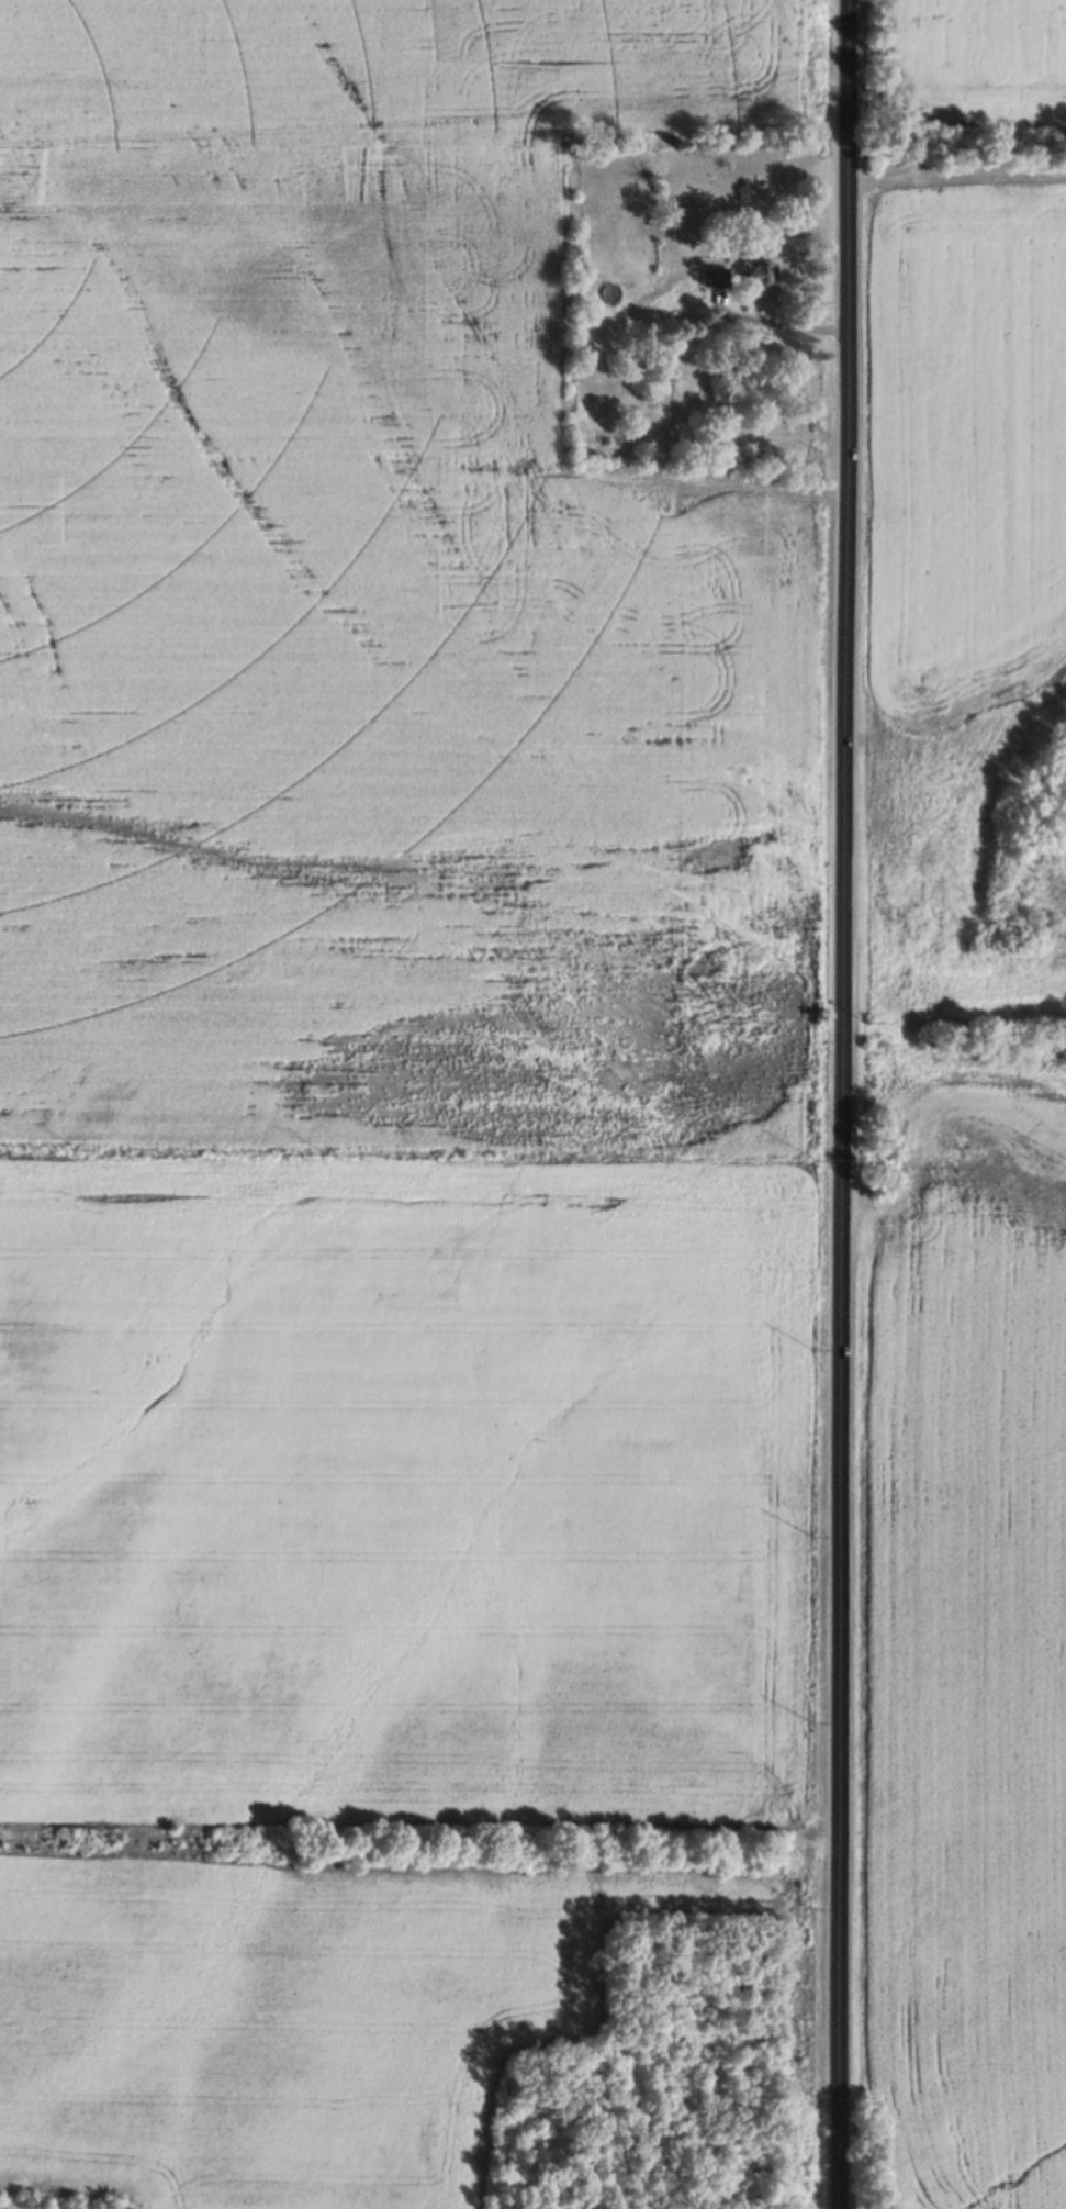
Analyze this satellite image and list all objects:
building: (756, 272)
road: (837, 1104)

